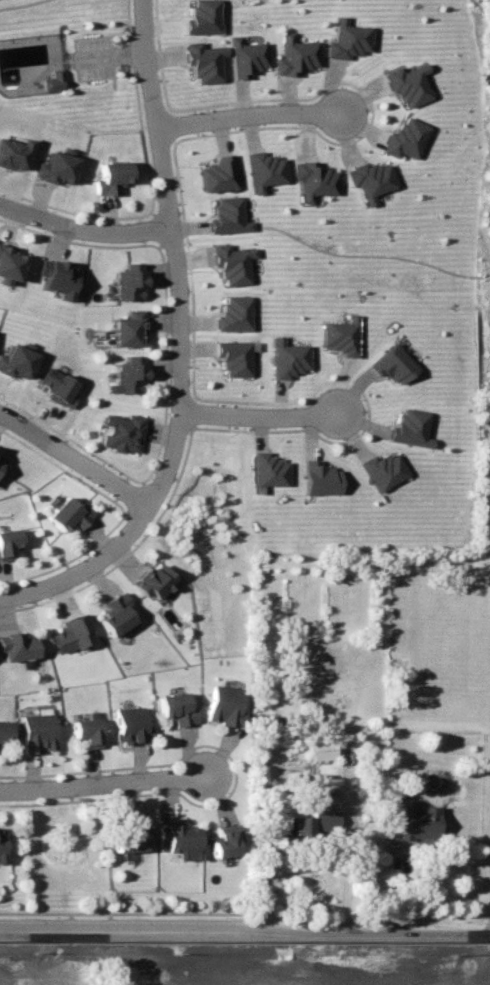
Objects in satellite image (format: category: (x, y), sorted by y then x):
building: (199, 14)
building: (345, 36)
building: (292, 51)
building: (246, 52)
road: (129, 53)
parking lot: (95, 56)
building: (201, 56)
building: (404, 80)
building: (56, 81)
road: (249, 111)
building: (402, 134)
building: (14, 153)
building: (264, 163)
building: (56, 168)
building: (219, 168)
building: (111, 171)
building: (366, 172)
building: (312, 173)
building: (225, 211)
road: (84, 228)
road: (175, 254)
building: (6, 257)
building: (230, 258)
building: (53, 271)
building: (124, 278)
building: (232, 308)
building: (124, 322)
building: (338, 330)
building: (232, 351)
building: (287, 354)
building: (14, 355)
building: (391, 358)
building: (125, 374)
building: (55, 379)
road: (261, 412)
building: (404, 423)
building: (118, 427)
road: (73, 454)
building: (1, 458)
building: (379, 464)
building: (268, 465)
building: (319, 474)
building: (67, 509)
building: (9, 535)
road: (85, 568)
building: (156, 580)
building: (118, 612)
building: (75, 633)
building: (20, 645)
building: (176, 703)
building: (226, 705)
building: (130, 720)
building: (5, 723)
building: (86, 726)
building: (36, 727)
building: (322, 749)
road: (104, 783)
building: (314, 820)
building: (419, 821)
building: (132, 833)
building: (178, 833)
building: (225, 841)
building: (2, 842)
road: (345, 842)
road: (400, 890)
road: (244, 935)

